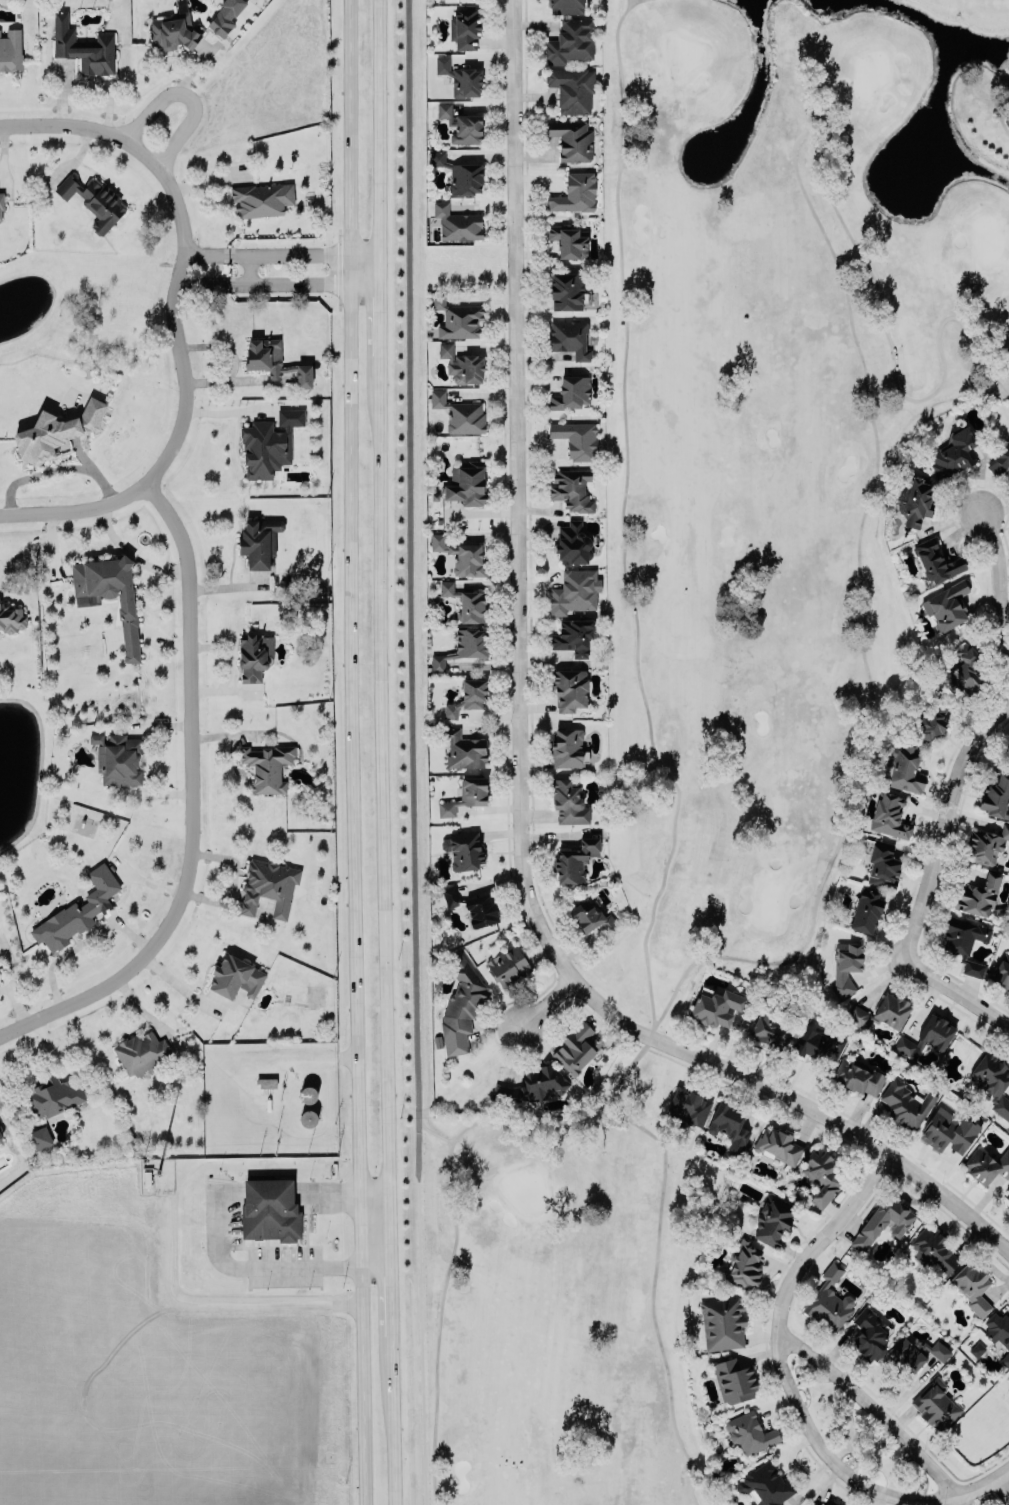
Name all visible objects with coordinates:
building: (565, 2)
building: (225, 15)
building: (465, 28)
building: (174, 31)
building: (570, 40)
building: (83, 45)
building: (11, 49)
building: (461, 76)
building: (572, 88)
road: (189, 95)
road: (1000, 114)
building: (462, 123)
road: (64, 127)
road: (379, 127)
building: (572, 140)
road: (3, 146)
building: (460, 172)
building: (575, 192)
building: (262, 199)
building: (94, 200)
building: (1, 207)
building: (457, 221)
building: (569, 239)
road: (205, 252)
road: (303, 253)
road: (250, 268)
road: (379, 268)
road: (202, 283)
road: (304, 283)
building: (566, 289)
road: (173, 305)
road: (380, 316)
building: (457, 318)
building: (569, 337)
building: (274, 359)
road: (862, 361)
building: (462, 363)
building: (571, 391)
building: (460, 412)
road: (227, 413)
building: (56, 428)
building: (577, 437)
building: (264, 447)
building: (955, 452)
building: (999, 460)
road: (58, 470)
building: (466, 484)
building: (571, 489)
building: (915, 498)
road: (77, 511)
building: (259, 539)
building: (573, 543)
road: (133, 554)
building: (460, 554)
building: (938, 563)
road: (407, 579)
road: (999, 583)
building: (573, 591)
building: (110, 594)
building: (466, 602)
building: (946, 605)
building: (11, 617)
road: (350, 629)
building: (573, 636)
building: (470, 642)
building: (254, 656)
park: (717, 658)
building: (439, 661)
building: (963, 672)
building: (569, 688)
building: (468, 696)
building: (931, 721)
building: (565, 746)
building: (464, 748)
building: (1006, 750)
road: (518, 755)
building: (118, 758)
building: (267, 766)
building: (905, 768)
road: (667, 771)
road: (383, 784)
building: (466, 795)
building: (996, 796)
building: (568, 800)
road: (191, 803)
building: (889, 815)
building: (985, 844)
building: (464, 849)
building: (574, 860)
building: (882, 864)
road: (925, 884)
building: (268, 886)
building: (977, 895)
building: (450, 896)
building: (77, 910)
building: (481, 910)
building: (865, 911)
building: (590, 916)
road: (82, 942)
building: (965, 942)
building: (508, 965)
building: (845, 968)
building: (1002, 971)
building: (235, 976)
building: (0, 980)
road: (180, 983)
road: (547, 1002)
road: (16, 1003)
building: (461, 1006)
building: (716, 1007)
building: (880, 1012)
building: (769, 1031)
building: (928, 1035)
building: (819, 1044)
building: (576, 1048)
building: (140, 1052)
building: (858, 1076)
building: (993, 1082)
building: (532, 1085)
building: (55, 1095)
building: (905, 1103)
building: (688, 1107)
building: (729, 1126)
building: (948, 1131)
building: (1, 1137)
building: (40, 1137)
building: (778, 1145)
building: (987, 1165)
building: (822, 1175)
building: (1006, 1199)
building: (270, 1209)
building: (772, 1221)
building: (883, 1222)
road: (456, 1234)
road: (822, 1236)
road: (376, 1239)
building: (933, 1252)
building: (744, 1264)
road: (259, 1268)
road: (392, 1273)
building: (972, 1286)
building: (829, 1300)
building: (722, 1322)
building: (998, 1331)
building: (869, 1334)
building: (907, 1356)
building: (734, 1381)
road: (361, 1382)
building: (936, 1405)
road: (872, 1406)
road: (394, 1416)
building: (749, 1432)
road: (829, 1456)
road: (1002, 1471)
building: (766, 1484)
road: (977, 1486)
road: (1002, 1486)
road: (961, 1499)
building: (831, 1502)
building: (808, 1504)

